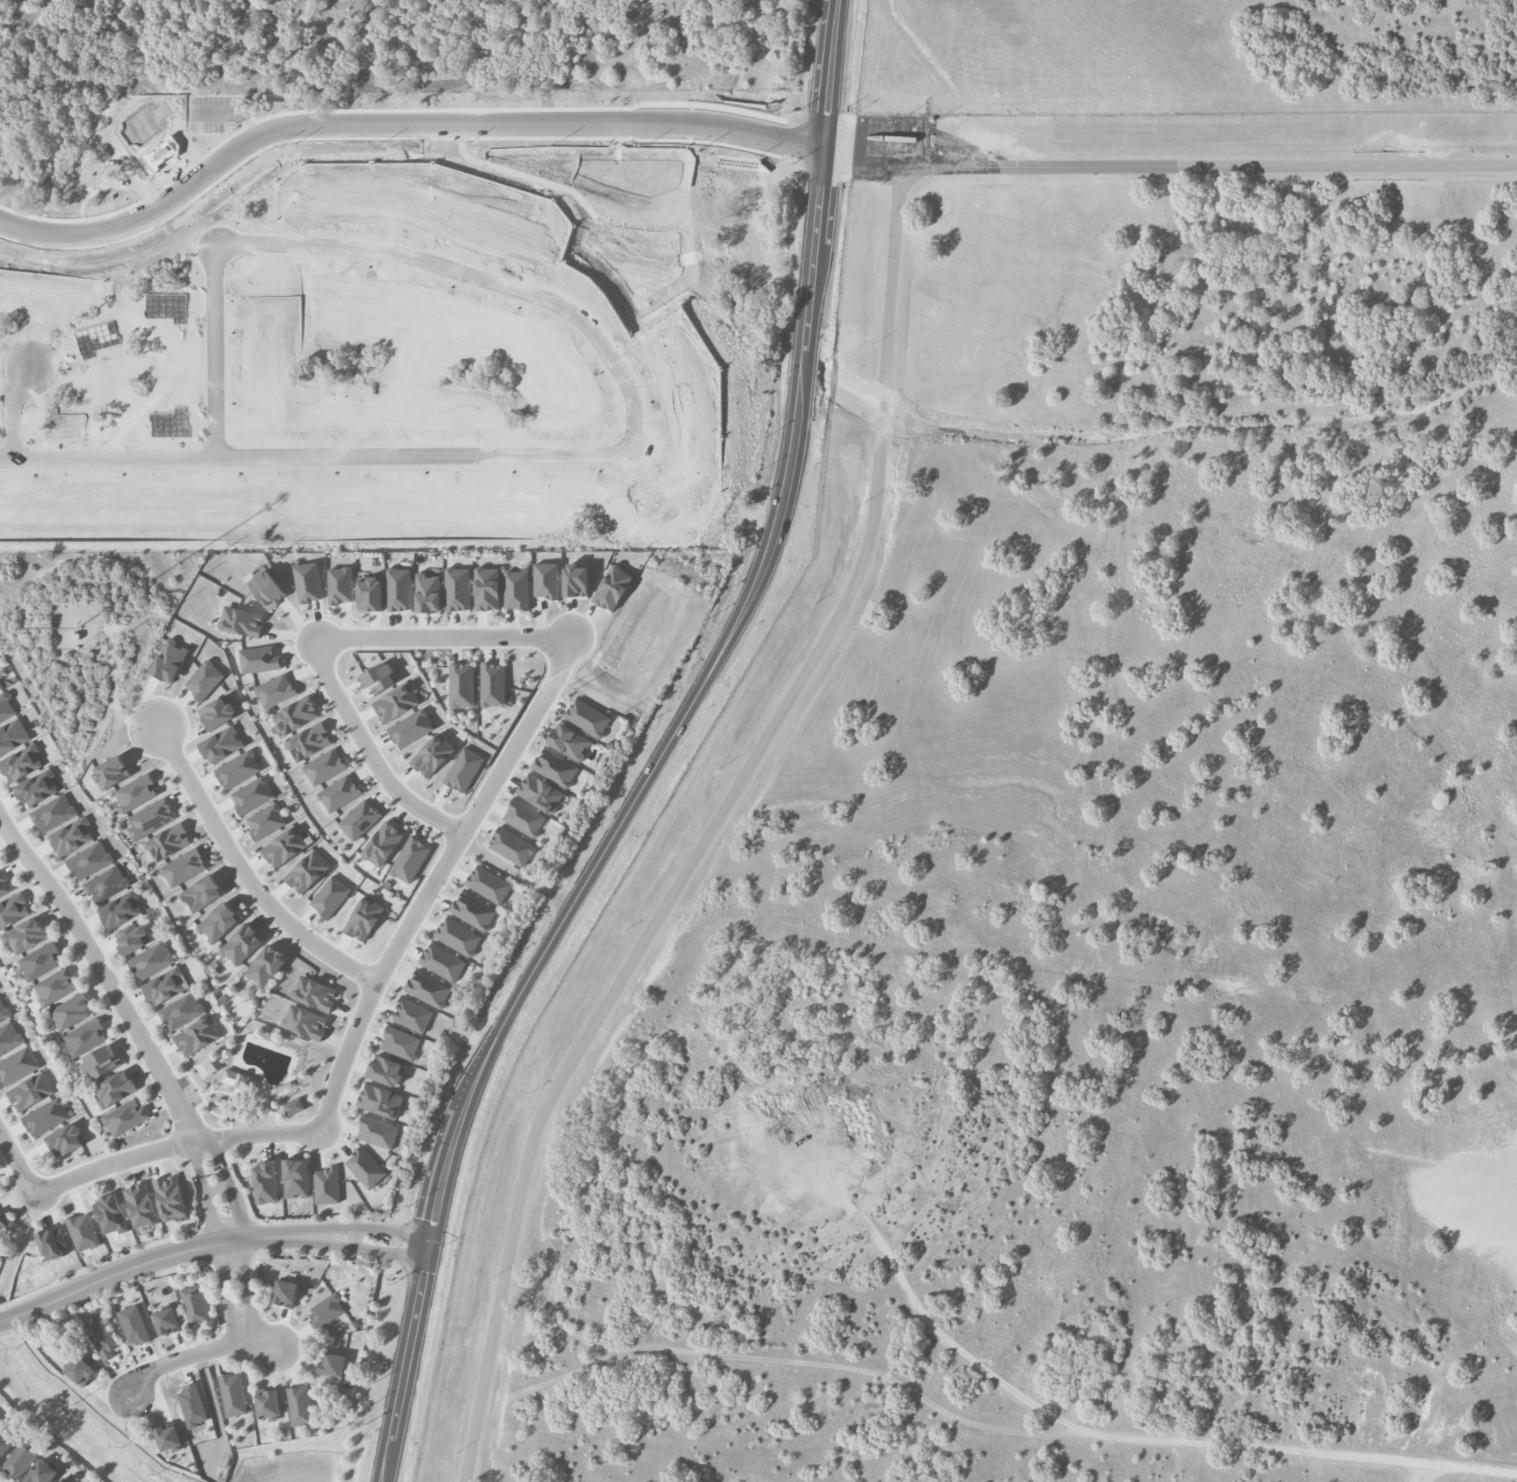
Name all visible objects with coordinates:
road: (647, 3)
road: (335, 128)
road: (749, 137)
road: (810, 149)
road: (1075, 168)
road: (1423, 168)
road: (893, 277)
road: (484, 282)
road: (221, 350)
road: (884, 411)
road: (21, 415)
road: (312, 458)
building: (545, 580)
building: (575, 580)
building: (307, 582)
building: (340, 585)
building: (265, 587)
building: (486, 588)
building: (612, 588)
building: (398, 589)
building: (457, 589)
building: (516, 589)
building: (428, 593)
building: (370, 594)
building: (241, 621)
road: (444, 637)
building: (259, 659)
building: (169, 661)
building: (377, 678)
building: (203, 680)
building: (461, 685)
building: (492, 685)
building: (0, 687)
building: (274, 691)
building: (396, 702)
building: (6, 707)
building: (217, 713)
building: (295, 715)
building: (587, 717)
building: (410, 728)
building: (12, 736)
building: (308, 742)
building: (569, 742)
building: (221, 744)
road: (372, 755)
building: (432, 755)
road: (661, 755)
building: (21, 763)
building: (324, 767)
building: (554, 767)
building: (237, 769)
building: (463, 769)
building: (111, 772)
building: (37, 788)
building: (135, 793)
building: (339, 793)
building: (539, 793)
building: (251, 795)
building: (52, 813)
building: (152, 817)
building: (523, 817)
building: (359, 819)
building: (265, 821)
building: (71, 836)
building: (168, 842)
building: (383, 844)
building: (510, 846)
building: (284, 847)
building: (409, 859)
building: (89, 860)
building: (183, 867)
road: (519, 868)
building: (307, 871)
road: (246, 876)
building: (3, 884)
building: (106, 884)
building: (488, 884)
road: (434, 885)
building: (201, 893)
building: (329, 896)
building: (13, 910)
building: (121, 910)
building: (472, 911)
building: (363, 918)
building: (218, 922)
building: (26, 935)
building: (457, 936)
building: (131, 938)
building: (241, 944)
road: (641, 945)
building: (151, 960)
building: (41, 961)
building: (442, 962)
road: (98, 965)
building: (265, 966)
building: (55, 986)
building: (166, 986)
building: (427, 989)
building: (252, 993)
building: (314, 993)
building: (3, 1011)
building: (181, 1011)
building: (71, 1012)
building: (412, 1015)
building: (305, 1022)
building: (197, 1036)
building: (85, 1037)
building: (9, 1038)
building: (399, 1042)
building: (102, 1062)
building: (17, 1066)
building: (385, 1070)
building: (239, 1080)
building: (116, 1088)
building: (30, 1091)
building: (380, 1101)
building: (46, 1117)
building: (126, 1117)
building: (377, 1132)
building: (67, 1140)
road: (175, 1148)
road: (216, 1149)
road: (193, 1157)
road: (17, 1164)
building: (365, 1167)
building: (296, 1178)
building: (265, 1182)
building: (326, 1185)
road: (218, 1188)
building: (170, 1197)
building: (140, 1205)
building: (110, 1214)
building: (1, 1223)
road: (367, 1229)
building: (83, 1231)
road: (355, 1238)
building: (52, 1244)
road: (365, 1249)
traffic signals: (429, 1249)
road: (247, 1262)
road: (146, 1263)
road: (222, 1267)
building: (285, 1293)
building: (194, 1305)
building: (325, 1310)
building: (166, 1321)
building: (133, 1325)
building: (100, 1336)
road: (944, 1337)
road: (199, 1354)
building: (332, 1364)
building: (80, 1371)
building: (232, 1394)
building: (268, 1404)
building: (192, 1405)
building: (299, 1405)
building: (0, 1416)
road: (990, 1427)
building: (168, 1437)
building: (4, 1445)
building: (20, 1458)
building: (41, 1473)
road: (1419, 1475)
building: (56, 1481)

